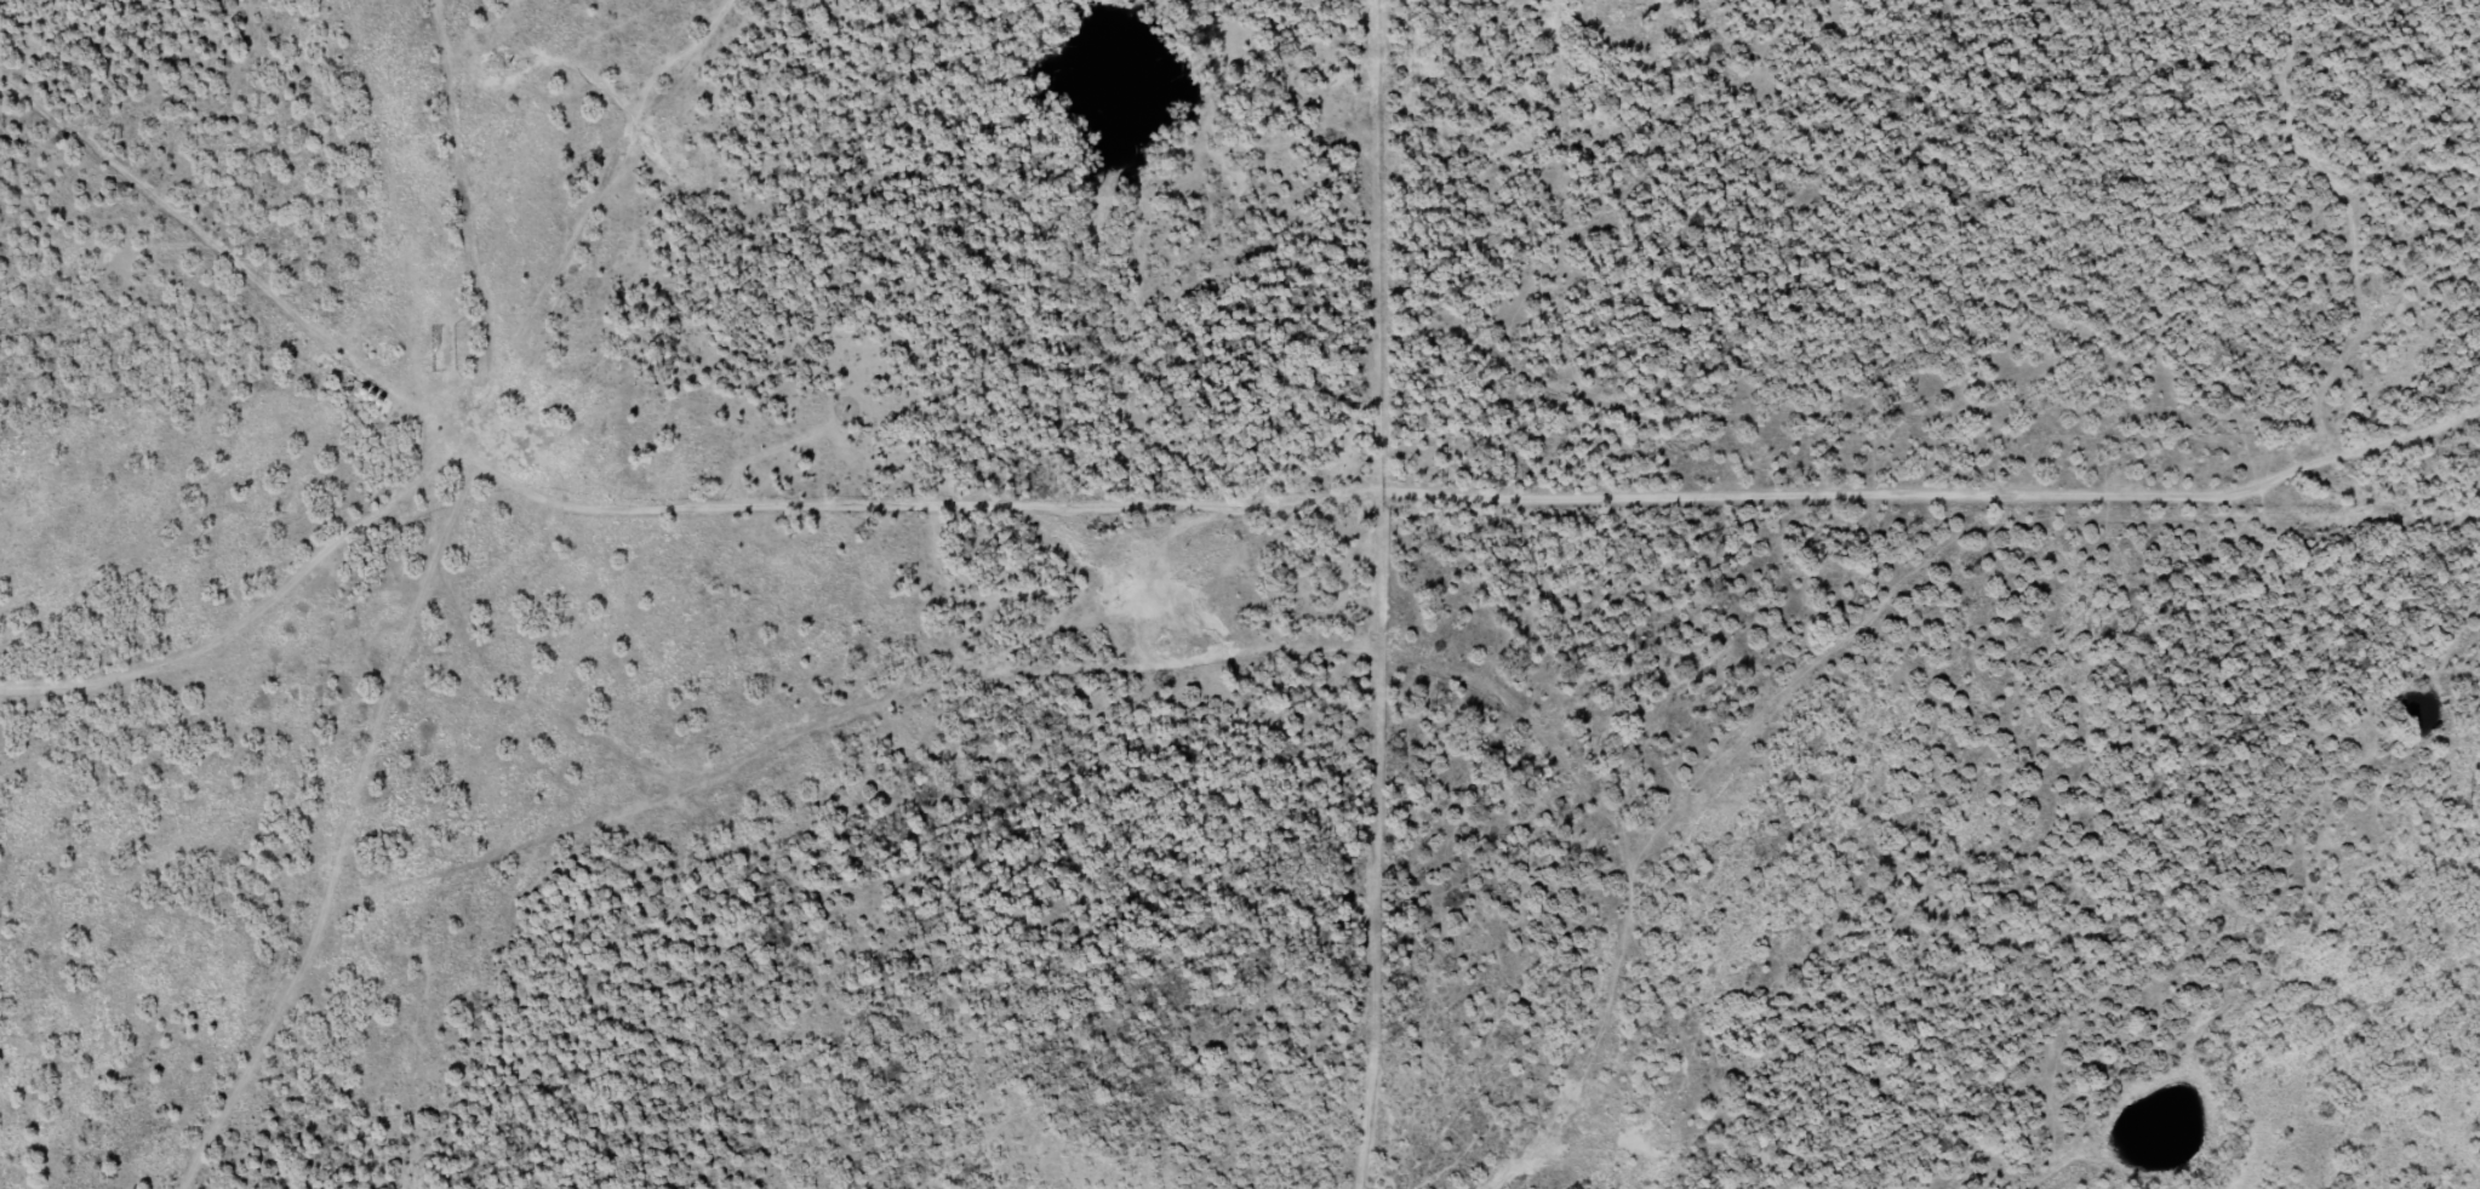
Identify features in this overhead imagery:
road: (613, 264)
road: (566, 565)
road: (1085, 739)

